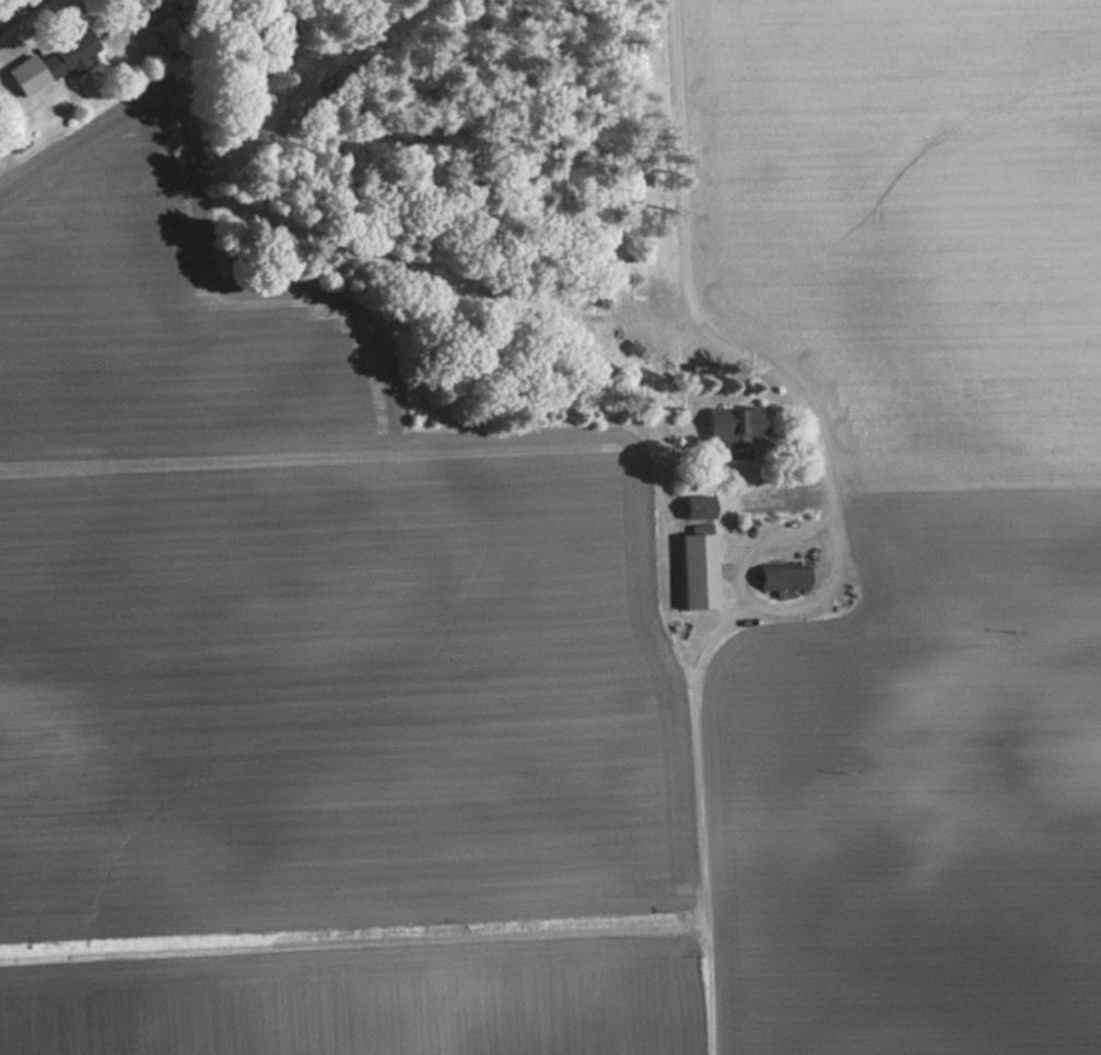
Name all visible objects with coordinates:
road: (16, 11)
building: (169, 33)
building: (70, 57)
road: (707, 321)
building: (635, 350)
building: (743, 430)
building: (701, 508)
building: (700, 573)
building: (786, 581)

